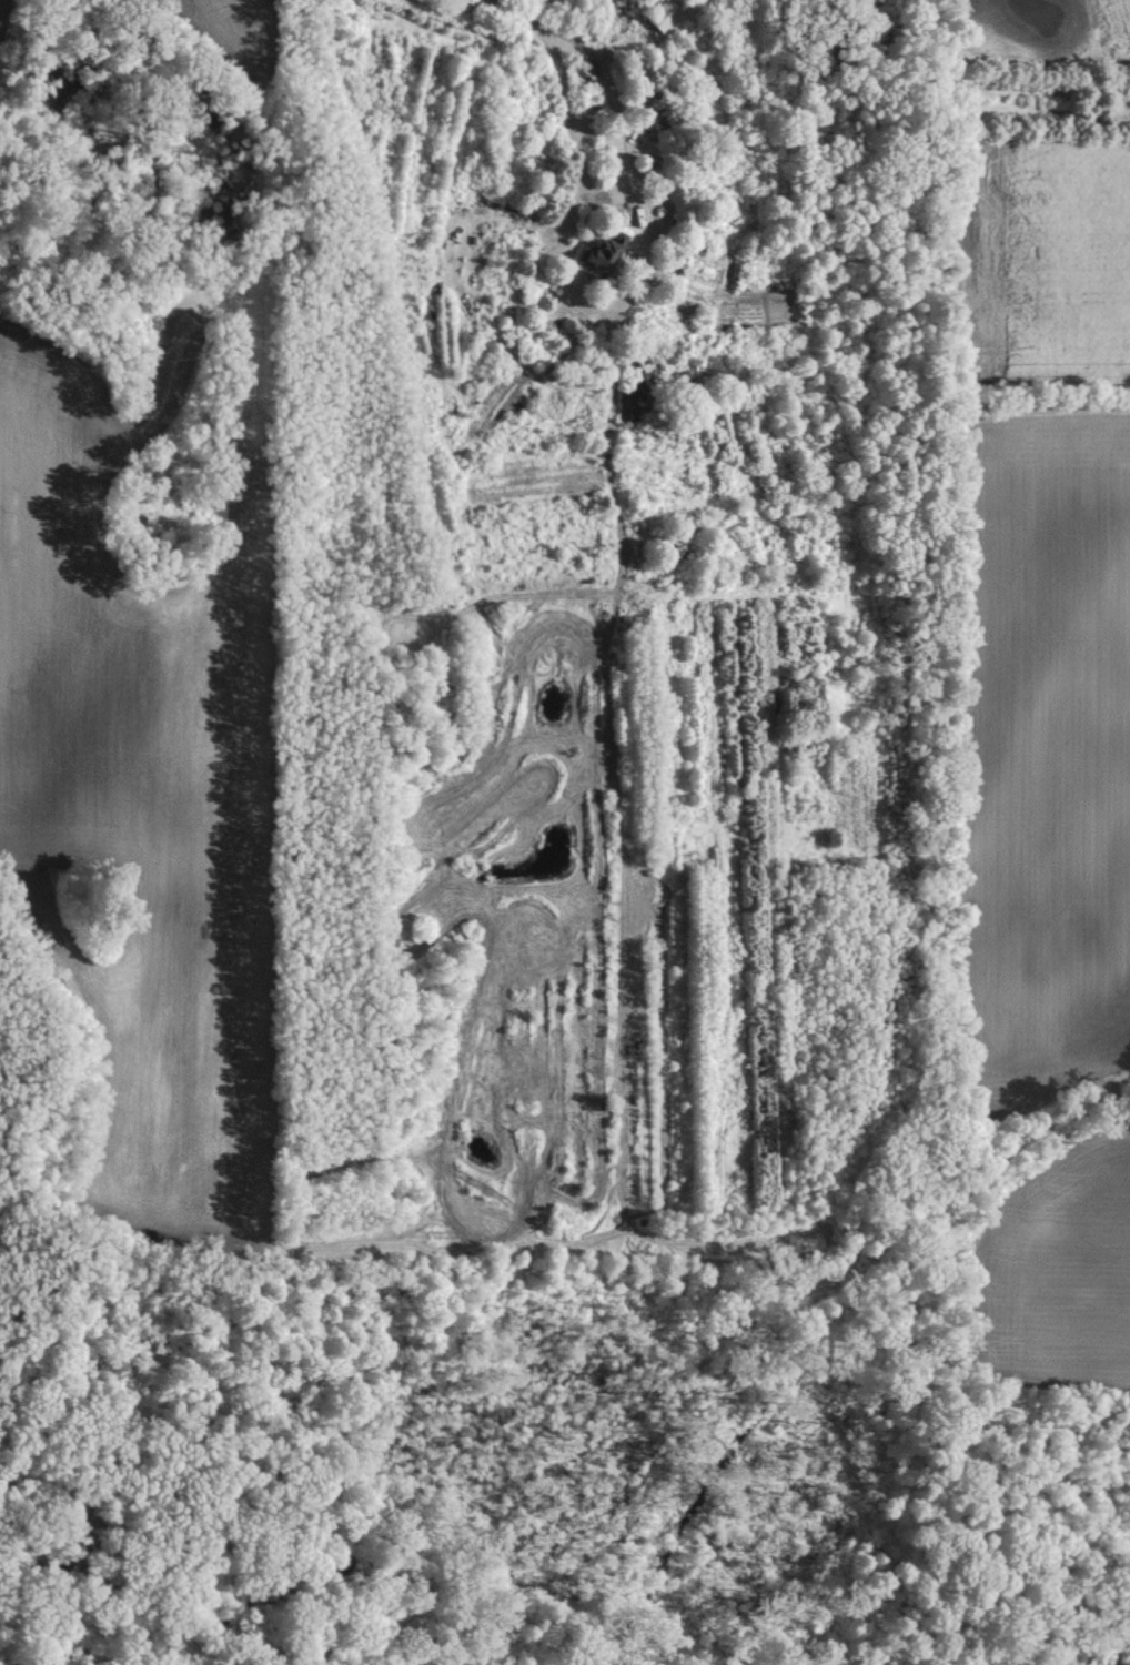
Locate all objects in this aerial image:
road: (508, 14)
building: (669, 18)
building: (716, 107)
road: (616, 190)
building: (603, 253)

